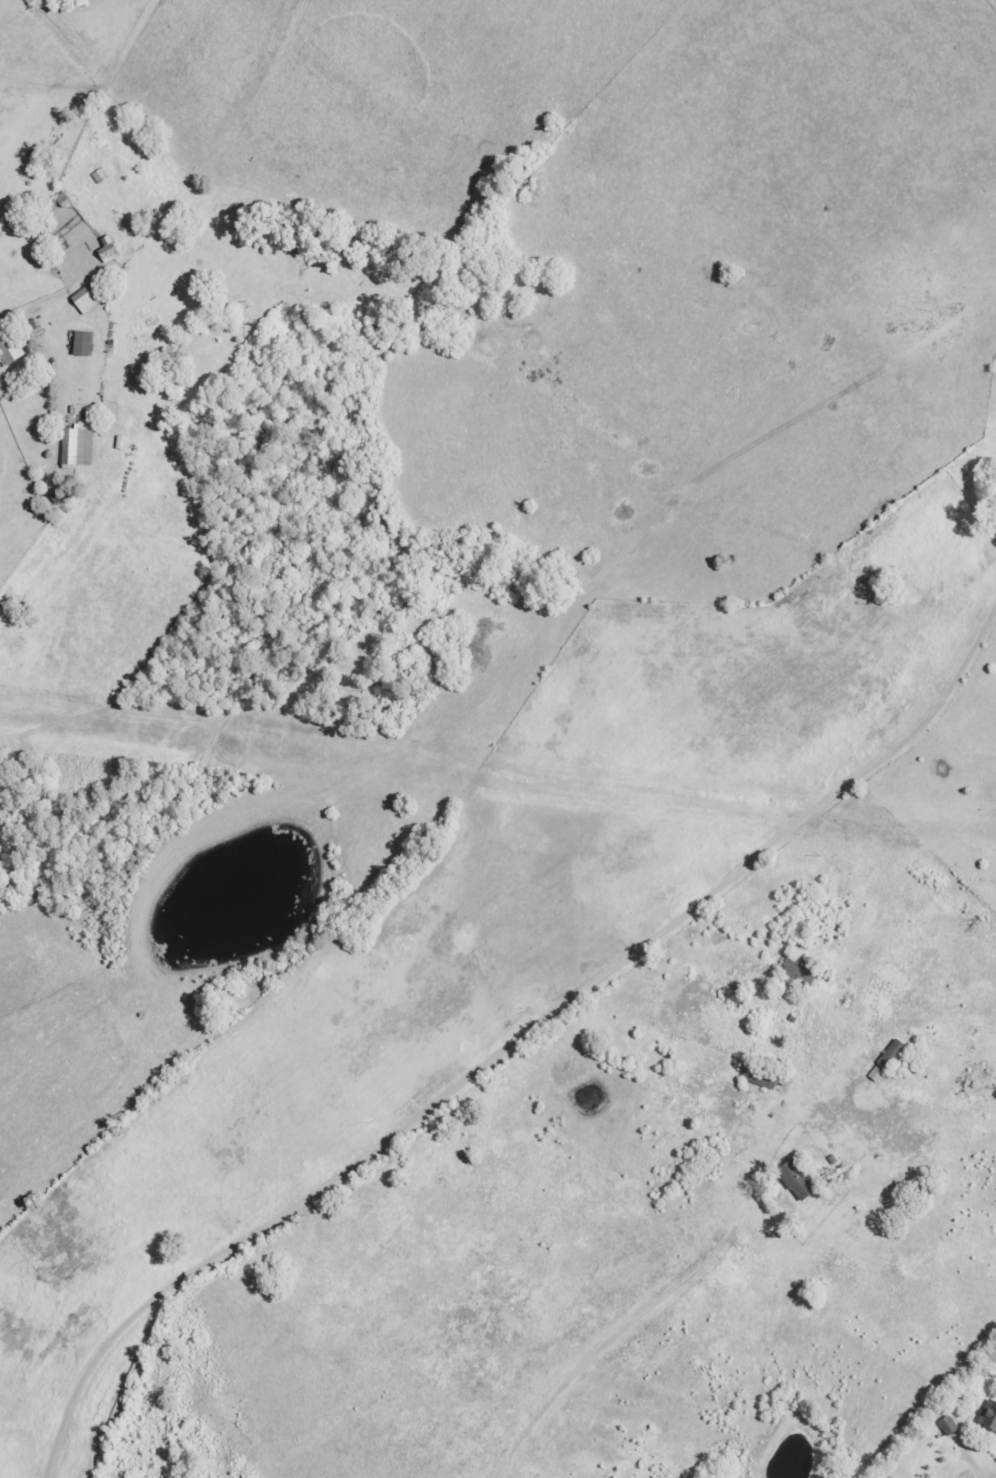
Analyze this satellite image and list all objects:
building: (110, 250)
building: (85, 343)
building: (10, 347)
road: (2, 359)
building: (80, 448)
road: (522, 1070)
building: (798, 1178)
road: (638, 1327)
building: (989, 1414)
road: (983, 1471)

